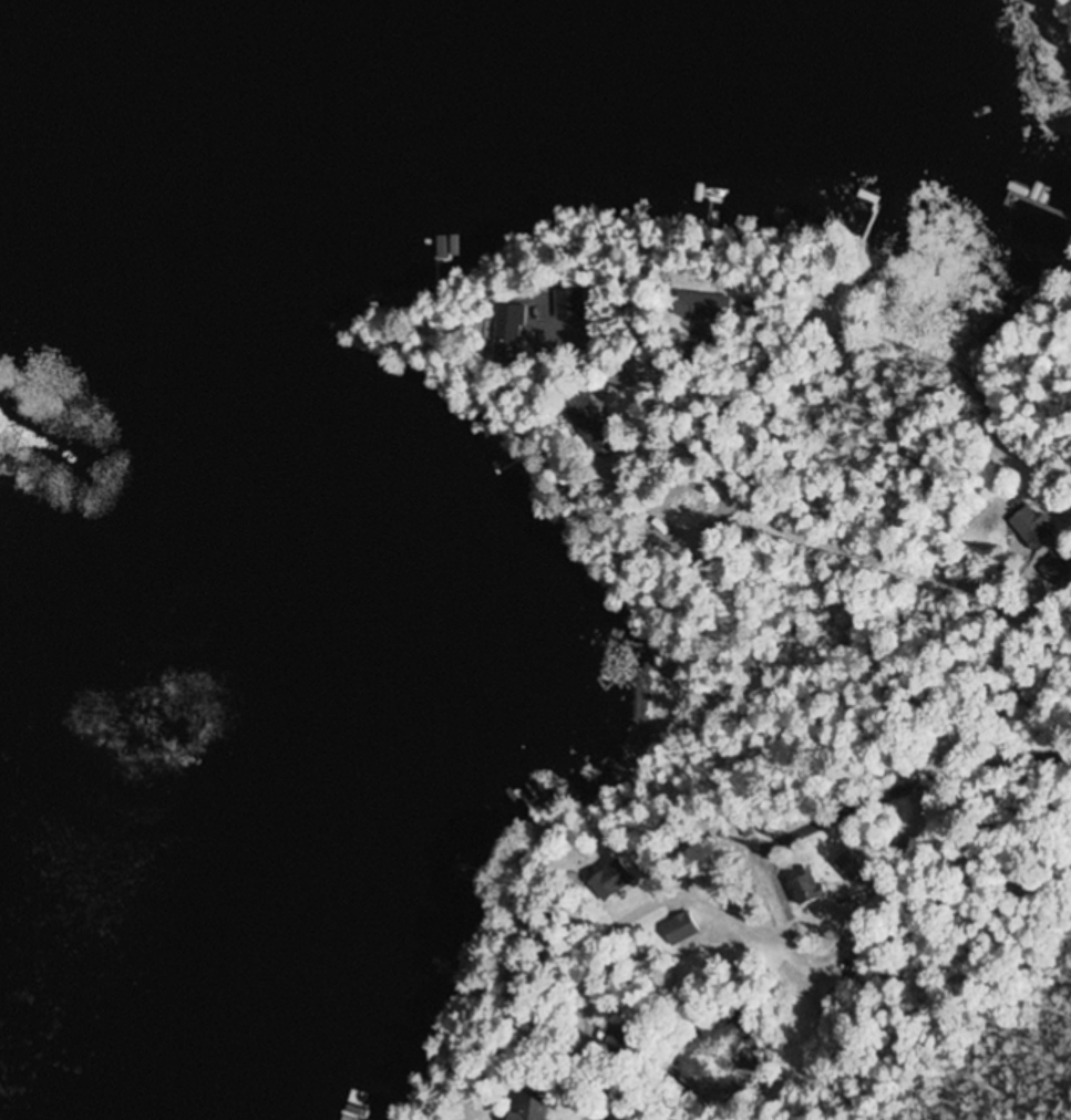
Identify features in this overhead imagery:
building: (1038, 193)
building: (560, 304)
building: (697, 305)
building: (497, 323)
building: (585, 423)
building: (1028, 527)
road: (833, 540)
building: (1058, 569)
road: (769, 839)
building: (848, 865)
building: (607, 879)
building: (804, 885)
building: (677, 927)
building: (528, 1106)

